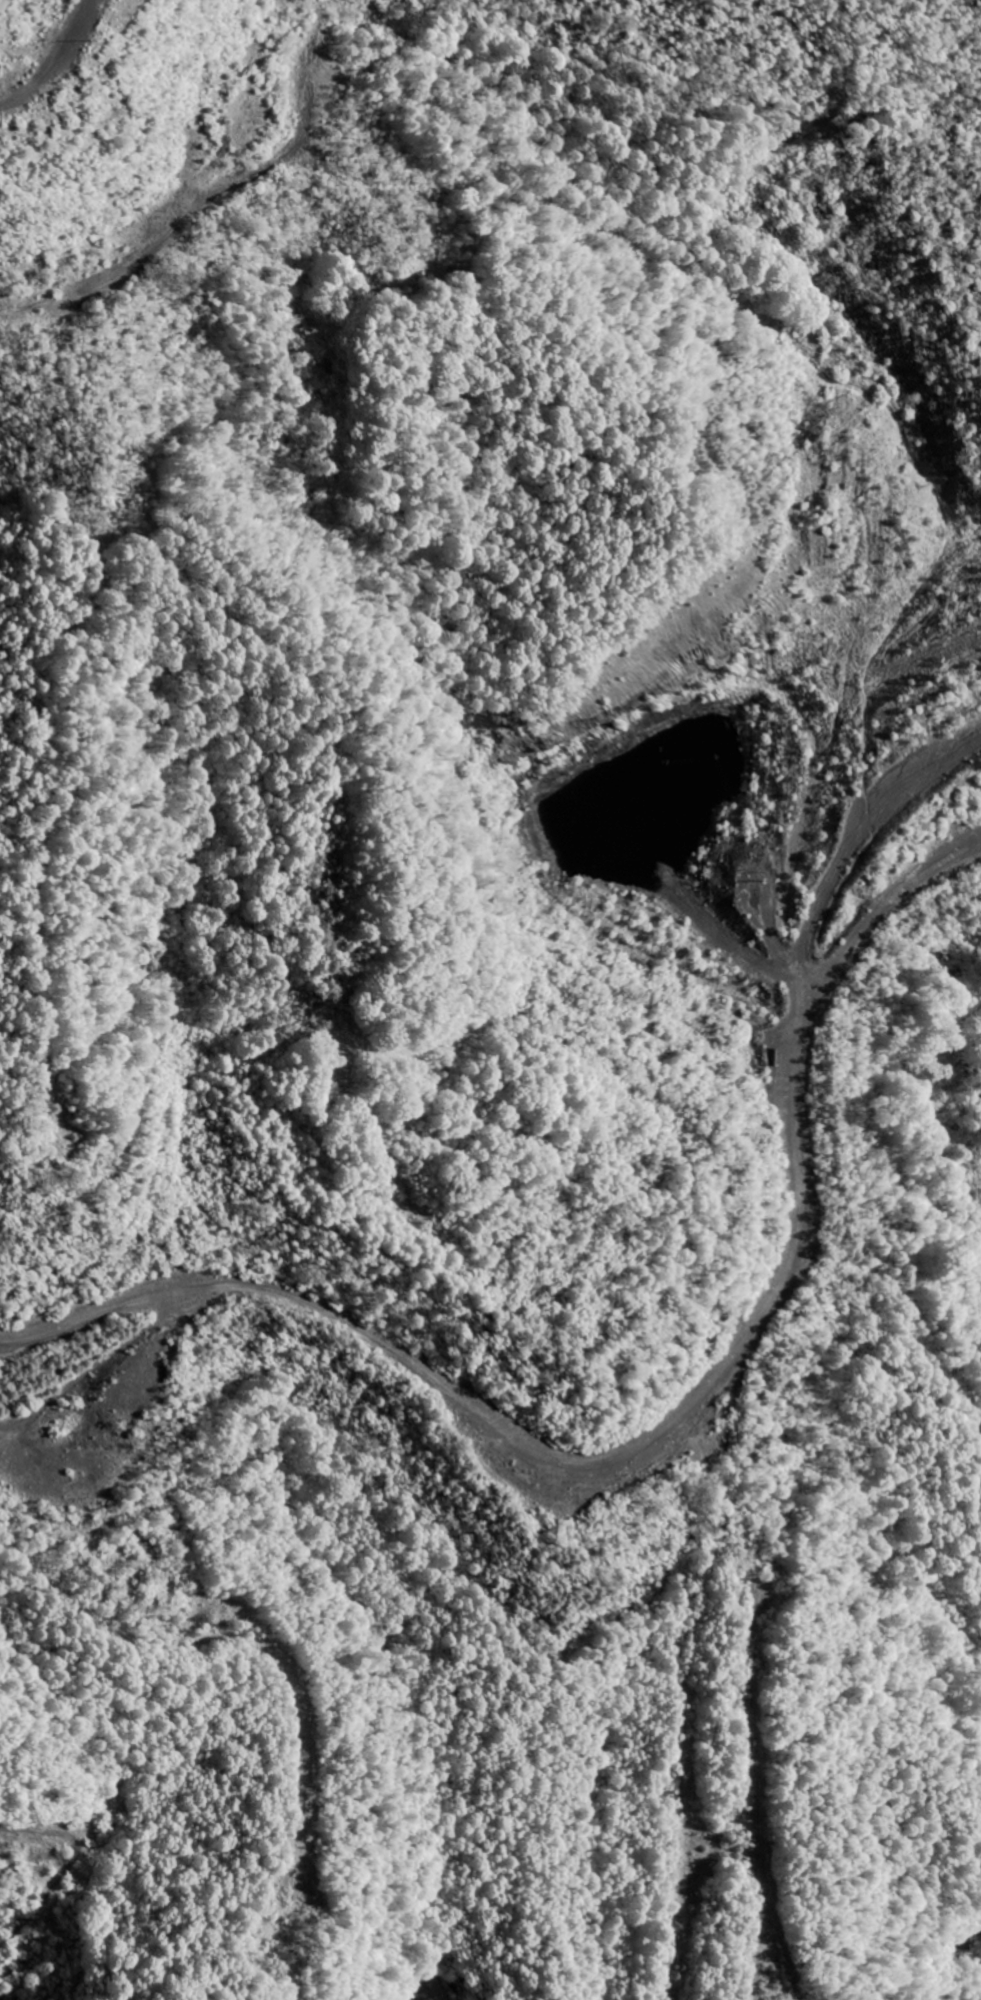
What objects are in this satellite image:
road: (824, 898)
road: (908, 1313)
road: (658, 1440)

